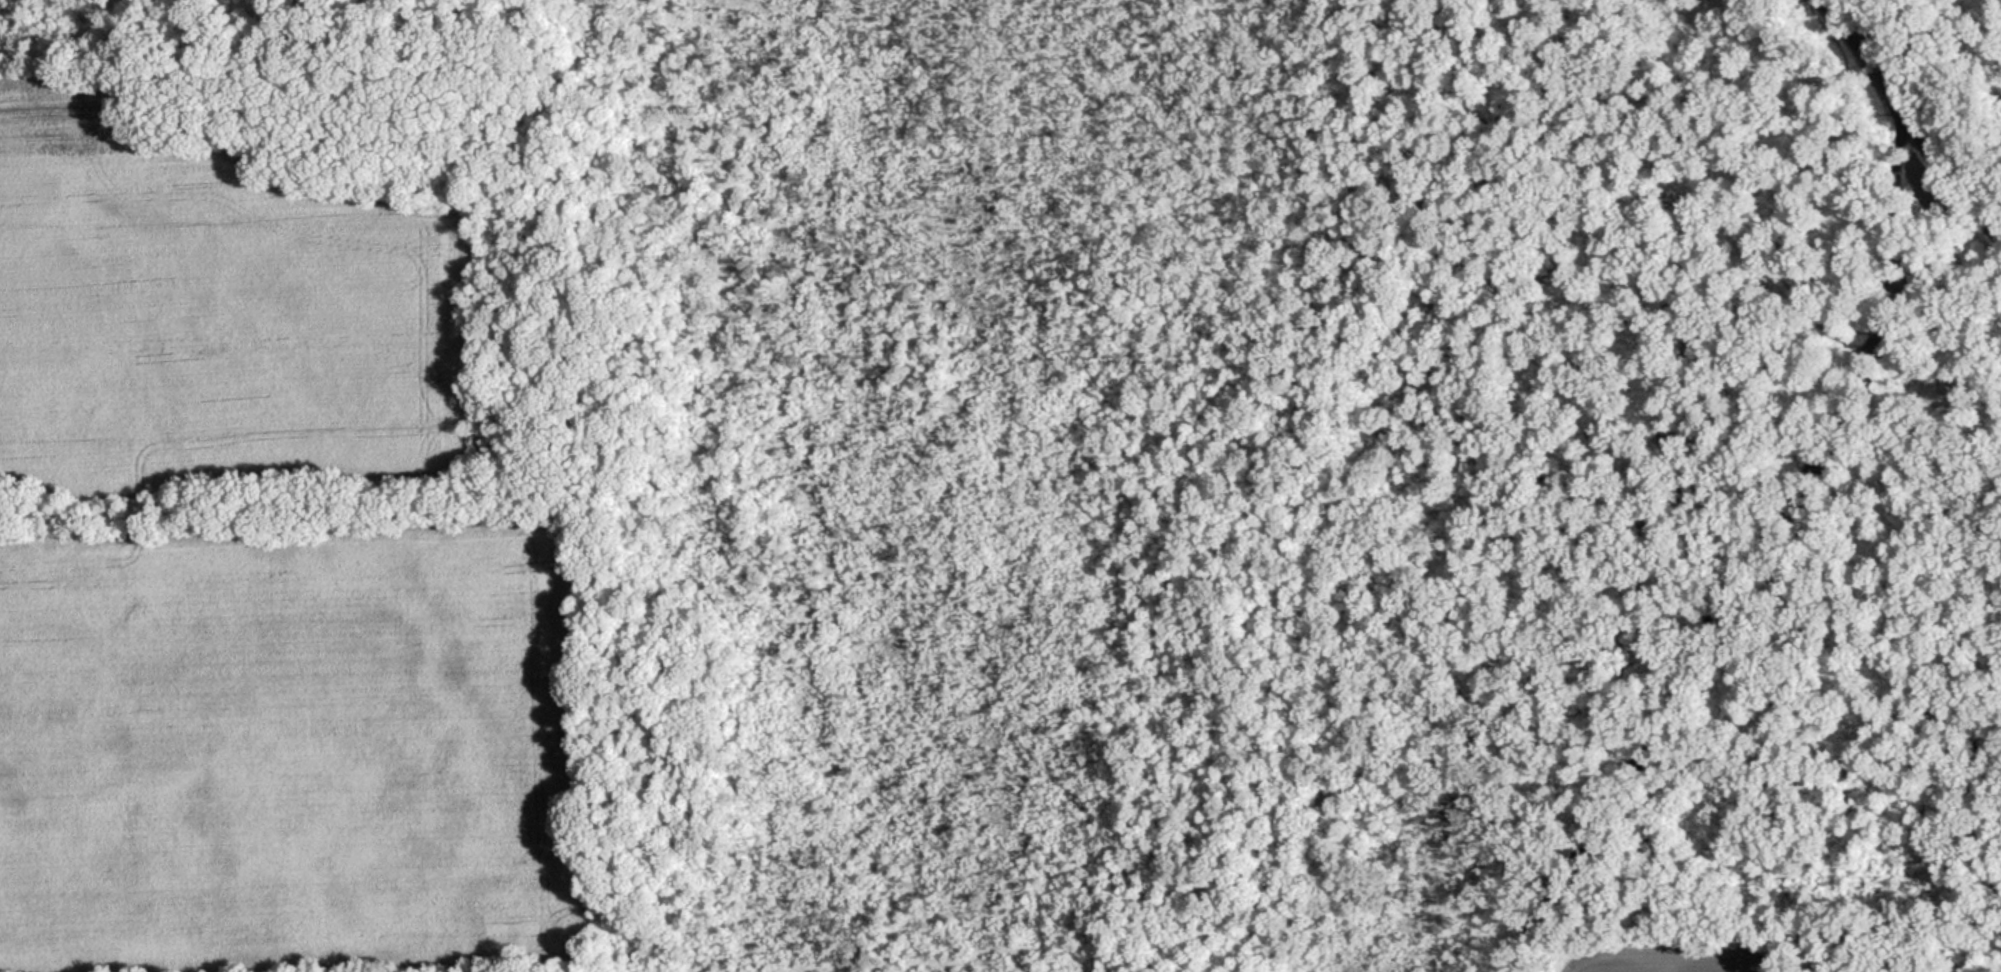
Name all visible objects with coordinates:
river: (1909, 117)

